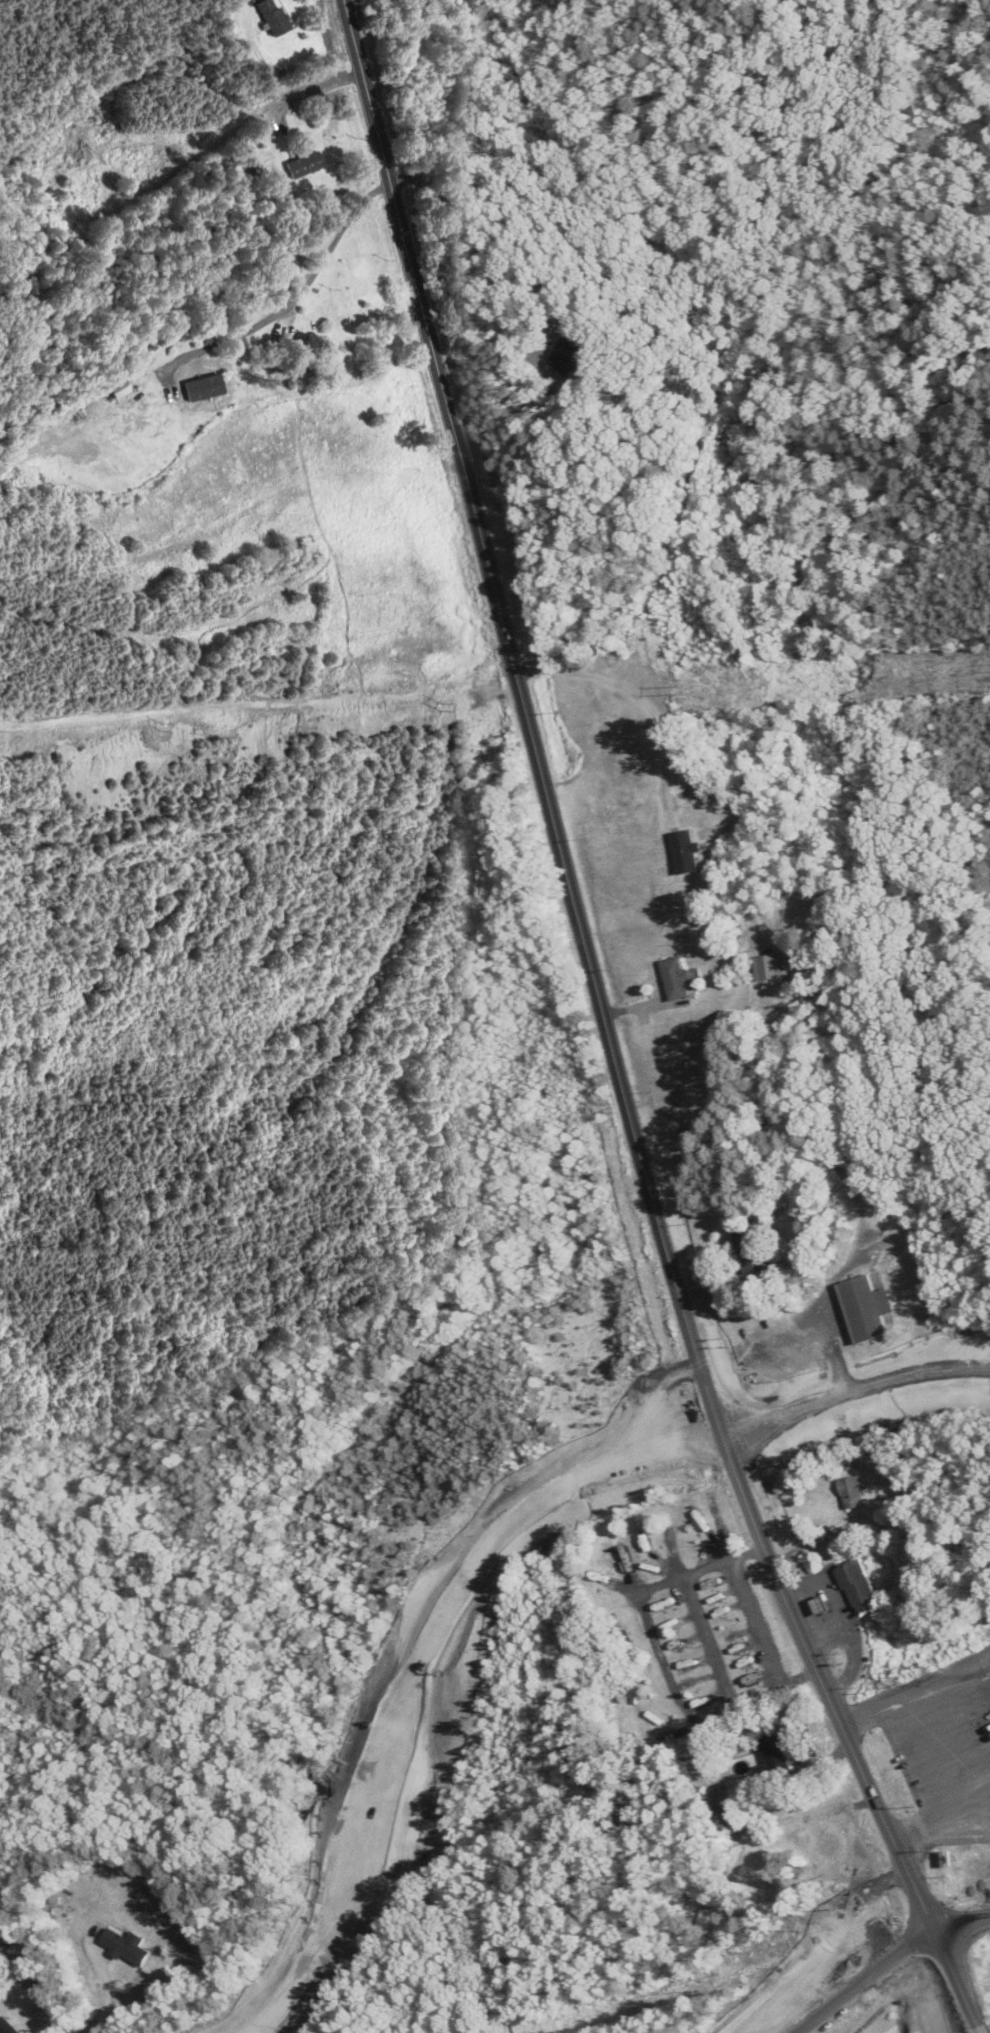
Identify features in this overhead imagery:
building: (269, 17)
road: (218, 139)
building: (52, 162)
building: (302, 166)
road: (295, 293)
road: (504, 313)
building: (571, 352)
building: (297, 359)
building: (204, 383)
building: (115, 391)
power tower: (674, 686)
road: (636, 696)
power tower: (435, 700)
road: (526, 718)
power tower: (158, 721)
building: (684, 852)
building: (767, 967)
building: (674, 980)
building: (742, 1241)
building: (749, 1267)
building: (865, 1309)
road: (854, 1392)
building: (851, 1493)
building: (698, 1531)
building: (646, 1549)
road: (700, 1570)
building: (860, 1586)
building: (610, 1591)
building: (722, 1604)
gas station: (821, 1605)
road: (762, 1620)
building: (671, 1621)
road: (710, 1642)
road: (664, 1662)
building: (745, 1666)
road: (418, 1670)
road: (821, 1684)
building: (692, 1690)
road: (752, 1700)
building: (772, 1759)
building: (729, 1814)
road: (954, 1926)
building: (124, 1947)
road: (851, 1985)
road: (940, 1985)
road: (102, 1988)
building: (6, 2026)

